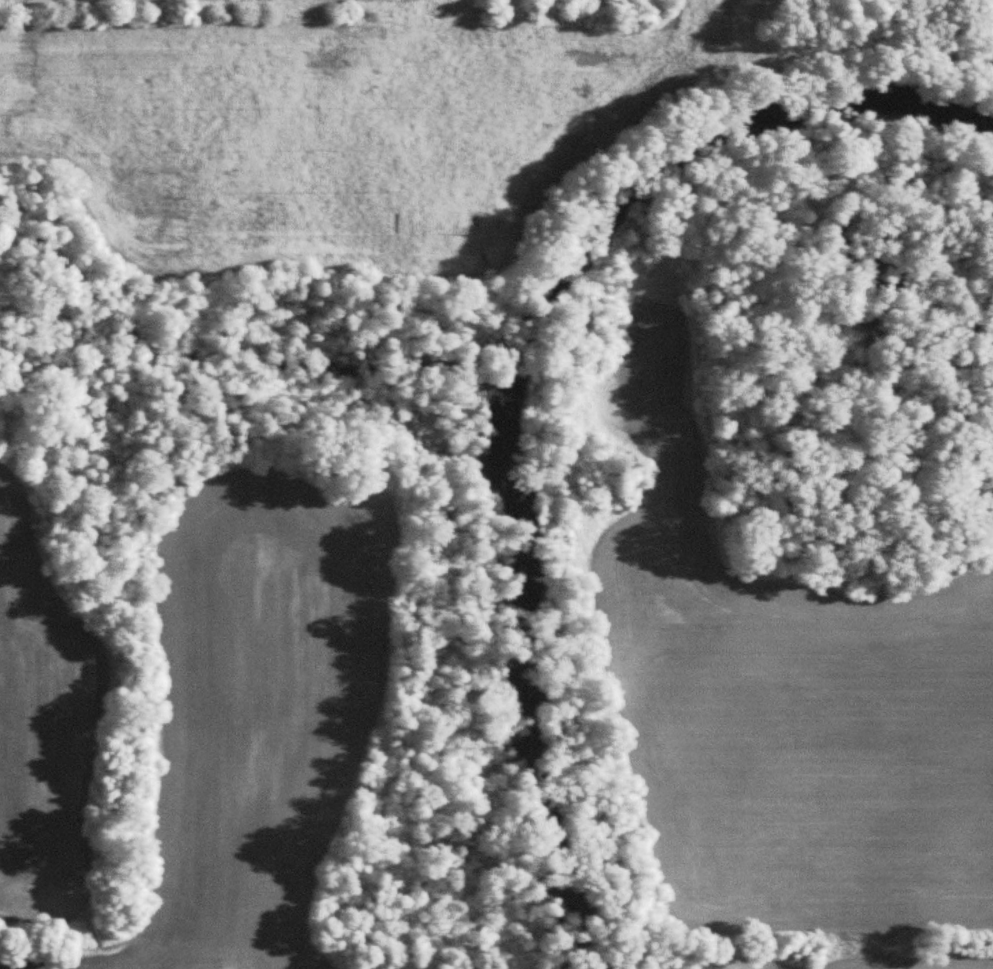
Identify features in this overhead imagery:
river: (530, 375)

